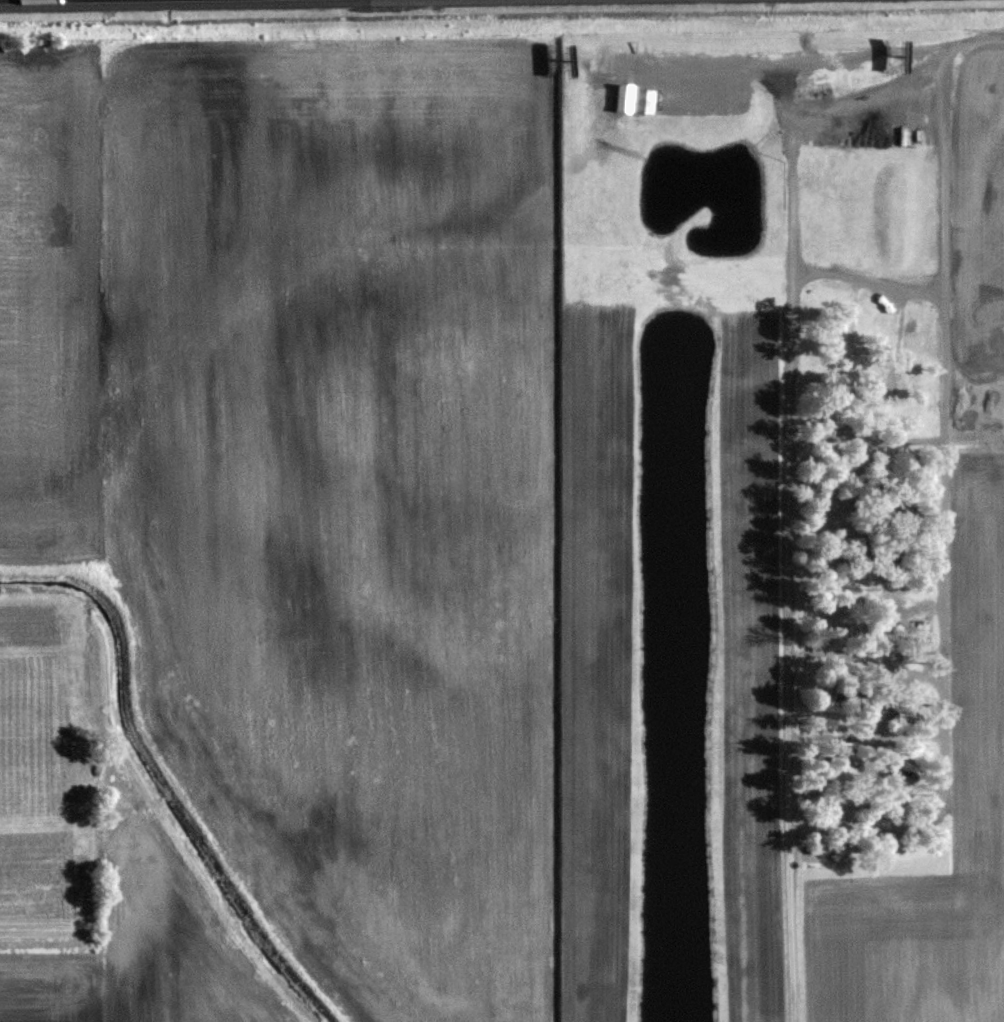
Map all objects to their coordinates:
road: (784, 101)
road: (865, 104)
road: (784, 467)
building: (852, 546)
road: (941, 574)

